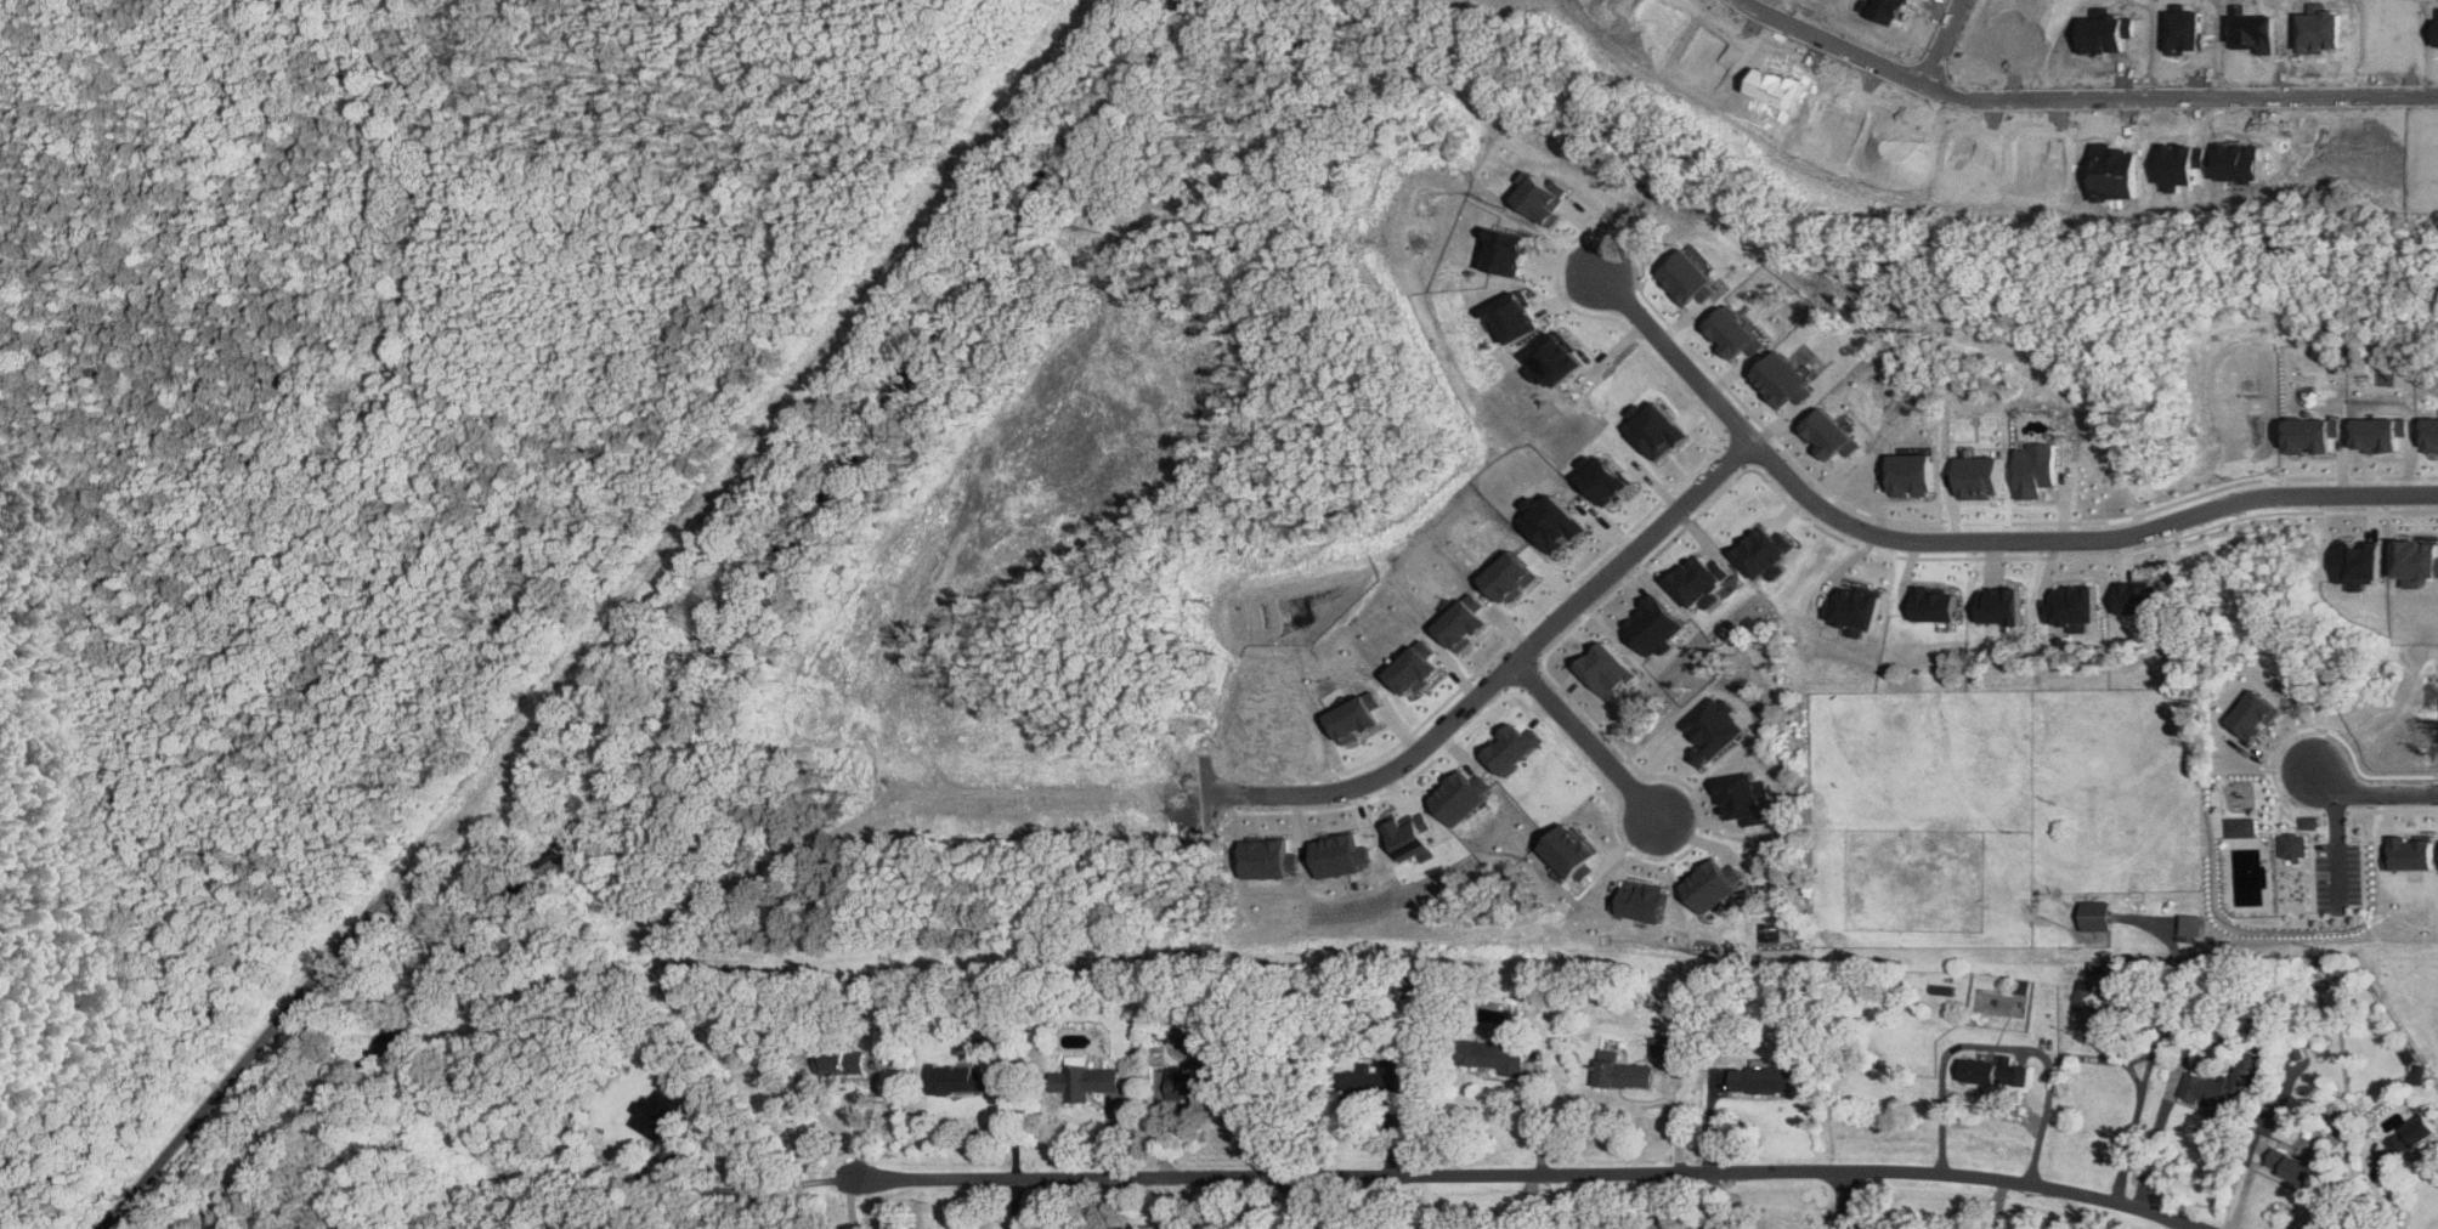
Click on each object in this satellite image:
road: (1941, 41)
road: (2077, 100)
building: (1543, 196)
building: (1509, 251)
building: (1690, 278)
building: (1516, 318)
building: (1735, 334)
building: (1556, 361)
building: (1783, 380)
building: (1656, 429)
building: (2310, 434)
building: (2378, 434)
building: (1828, 435)
building: (2431, 435)
building: (2036, 469)
building: (1910, 474)
building: (1603, 477)
building: (1981, 477)
building: (1555, 522)
road: (1973, 540)
building: (1764, 553)
building: (2359, 561)
building: (2416, 561)
building: (1514, 577)
building: (1698, 582)
building: (2142, 600)
building: (1935, 604)
building: (2002, 606)
building: (2074, 607)
building: (1852, 610)
building: (1466, 622)
building: (1652, 627)
building: (1416, 668)
building: (1606, 670)
road: (1518, 673)
building: (2255, 715)
building: (1358, 718)
building: (1712, 727)
road: (1596, 746)
building: (1512, 747)
road: (2378, 792)
building: (1460, 797)
building: (1741, 798)
building: (2306, 823)
building: (2239, 827)
building: (1410, 840)
building: (2291, 845)
building: (1573, 853)
building: (2410, 853)
building: (1339, 855)
building: (1268, 859)
building: (1715, 889)
building: (1642, 902)
building: (2095, 916)
building: (2190, 928)
building: (2085, 993)
road: (1998, 1044)
building: (1662, 1046)
building: (1495, 1057)
building: (842, 1065)
building: (1996, 1072)
building: (1631, 1074)
road: (231, 1077)
building: (1767, 1077)
building: (955, 1078)
building: (1371, 1083)
building: (1086, 1084)
building: (1193, 1084)
building: (2219, 1092)
building: (666, 1117)
road: (866, 1121)
road: (2155, 1135)
building: (2414, 1135)
building: (2293, 1166)
road: (1522, 1176)
road: (822, 1179)
road: (803, 1183)
road: (732, 1190)
road: (1842, 1200)
road: (1294, 1202)
road: (1114, 1203)

